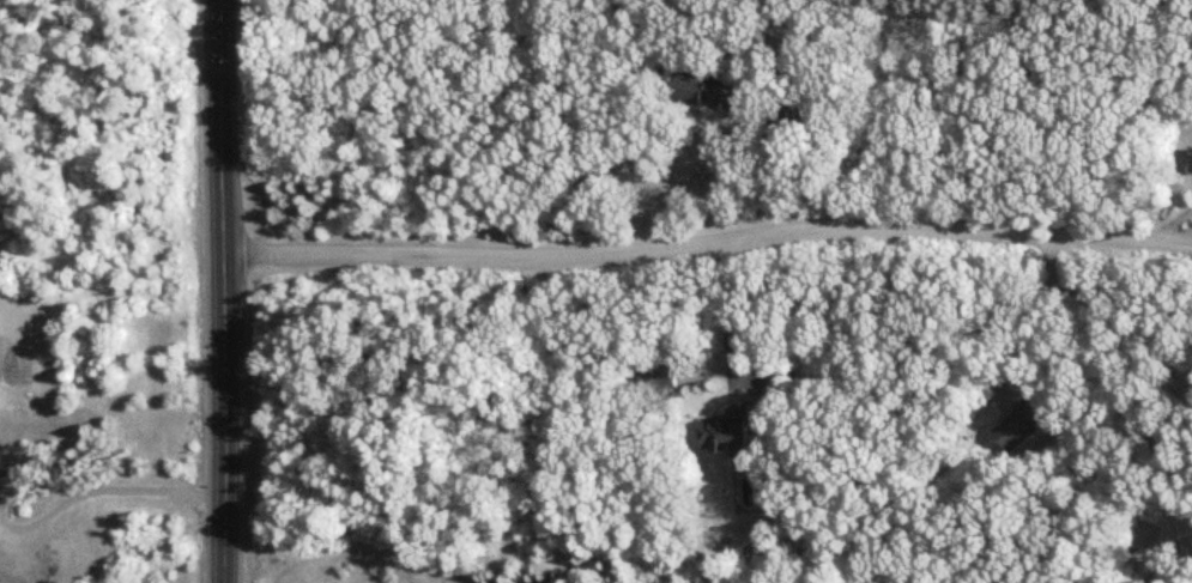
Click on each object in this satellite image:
building: (708, 95)
road: (909, 113)
road: (788, 164)
road: (707, 242)
road: (222, 291)
road: (1042, 303)
road: (726, 305)
building: (660, 379)
road: (1125, 412)
building: (1018, 427)
building: (730, 431)
road: (54, 487)

